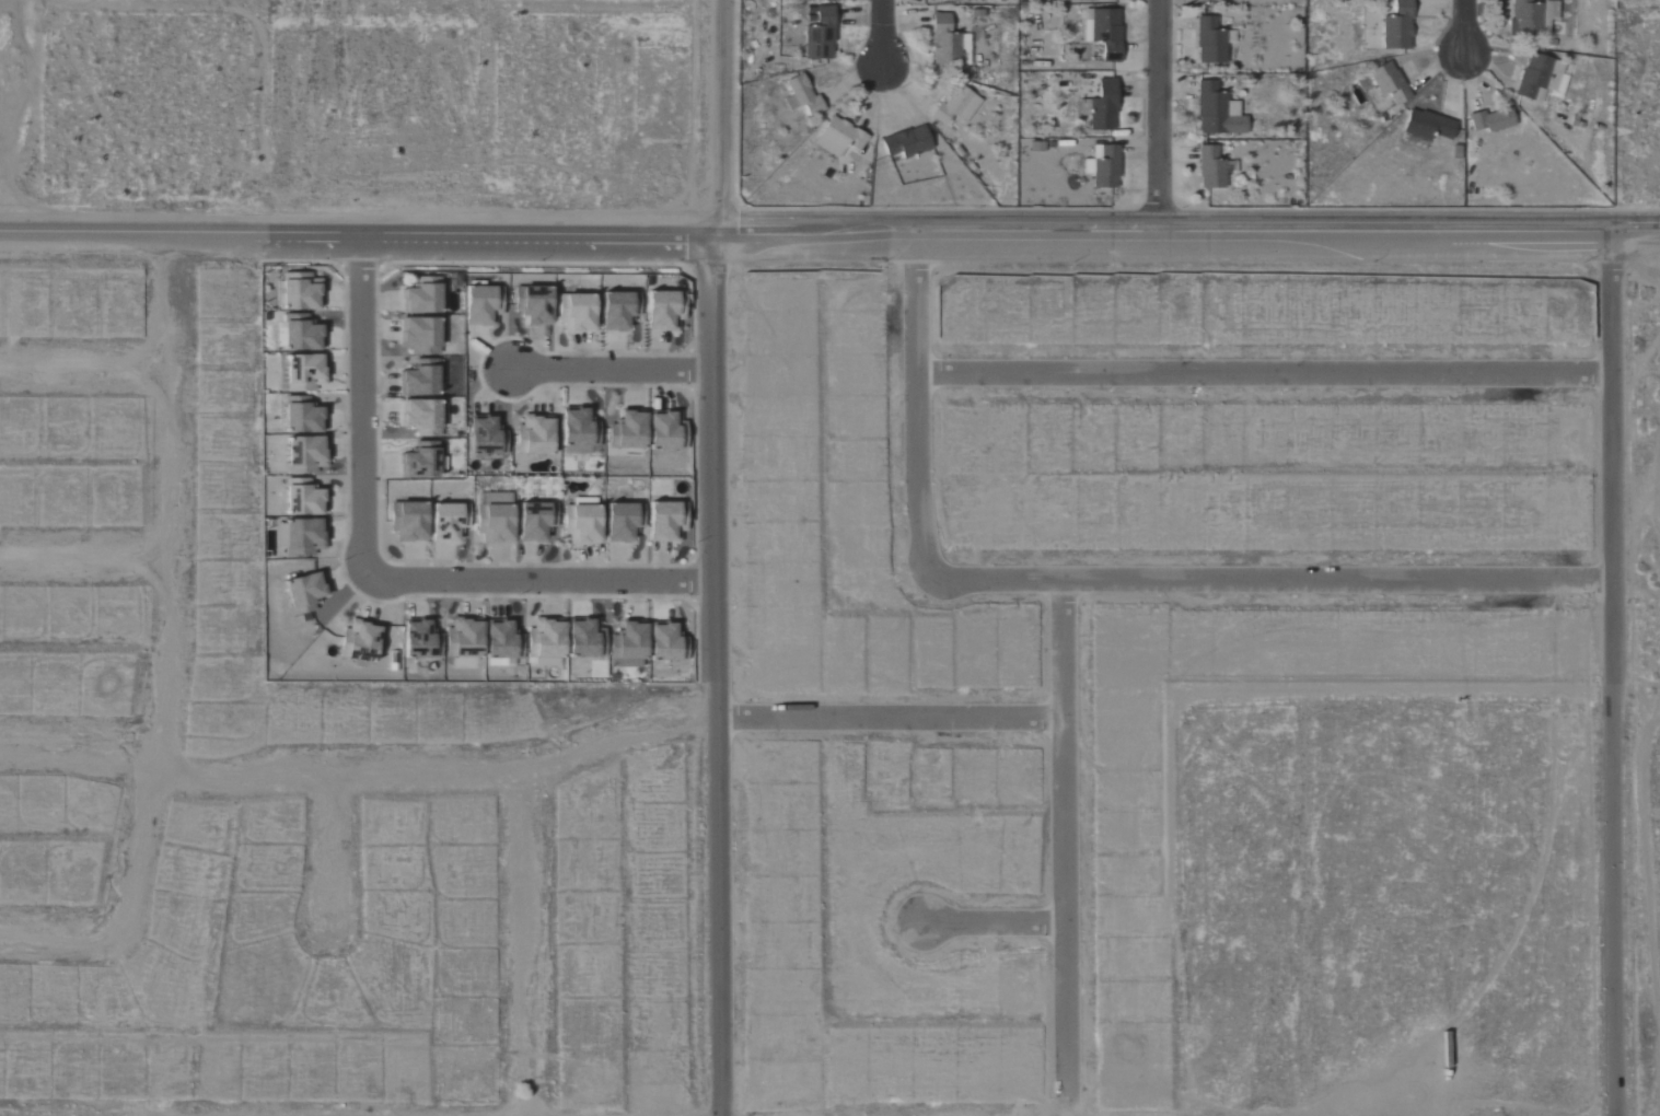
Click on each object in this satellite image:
park: (1636, 4)
building: (1526, 18)
building: (1398, 27)
road: (1465, 28)
road: (883, 30)
building: (1107, 33)
building: (821, 36)
building: (944, 43)
building: (1210, 43)
building: (1542, 78)
building: (1389, 83)
building: (802, 96)
building: (957, 105)
building: (1104, 107)
road: (1157, 111)
building: (1218, 113)
building: (1491, 120)
building: (1428, 126)
building: (839, 138)
building: (907, 143)
building: (1104, 168)
building: (1211, 168)
road: (1635, 223)
road: (804, 231)
building: (300, 291)
building: (421, 295)
building: (483, 303)
building: (533, 304)
building: (664, 310)
building: (615, 311)
building: (577, 312)
building: (420, 335)
building: (302, 336)
road: (84, 370)
road: (613, 370)
building: (305, 372)
road: (1265, 373)
building: (420, 379)
road: (917, 400)
road: (363, 410)
building: (302, 415)
building: (423, 416)
building: (628, 430)
building: (662, 430)
building: (579, 431)
building: (535, 434)
building: (485, 435)
building: (305, 454)
building: (420, 461)
building: (303, 497)
building: (495, 519)
building: (408, 521)
building: (536, 521)
building: (624, 521)
building: (666, 521)
building: (449, 522)
building: (582, 523)
building: (280, 534)
building: (304, 536)
road: (85, 555)
road: (716, 557)
road: (1274, 578)
road: (542, 579)
building: (304, 592)
road: (171, 594)
building: (464, 638)
building: (546, 638)
building: (585, 639)
building: (420, 640)
building: (664, 641)
building: (502, 644)
building: (629, 644)
road: (1615, 669)
road: (1637, 700)
road: (892, 718)
road: (360, 774)
road: (1067, 846)
road: (332, 852)
road: (994, 922)
road: (56, 935)
road: (527, 944)

